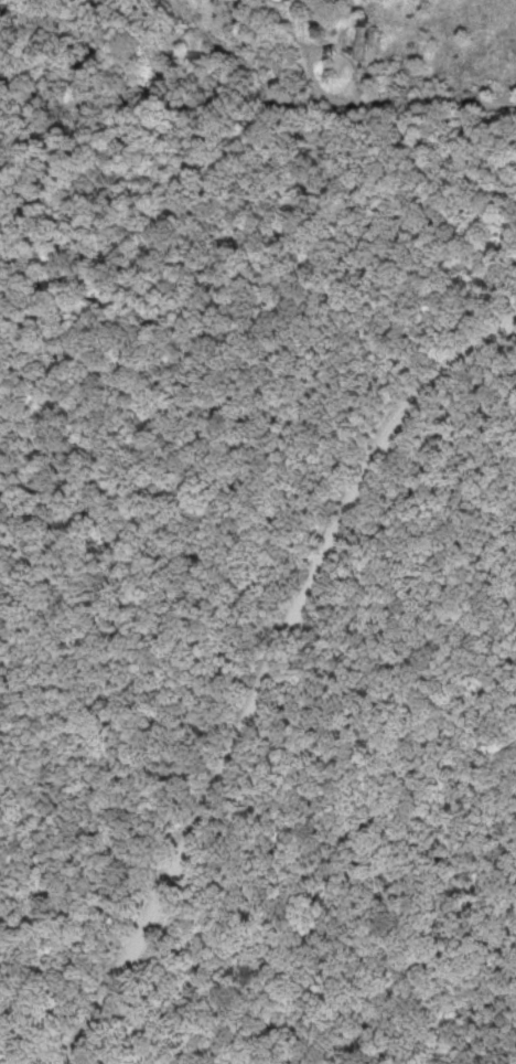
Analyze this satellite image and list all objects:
building: (362, 39)
building: (181, 56)
road: (258, 132)
road: (280, 700)

